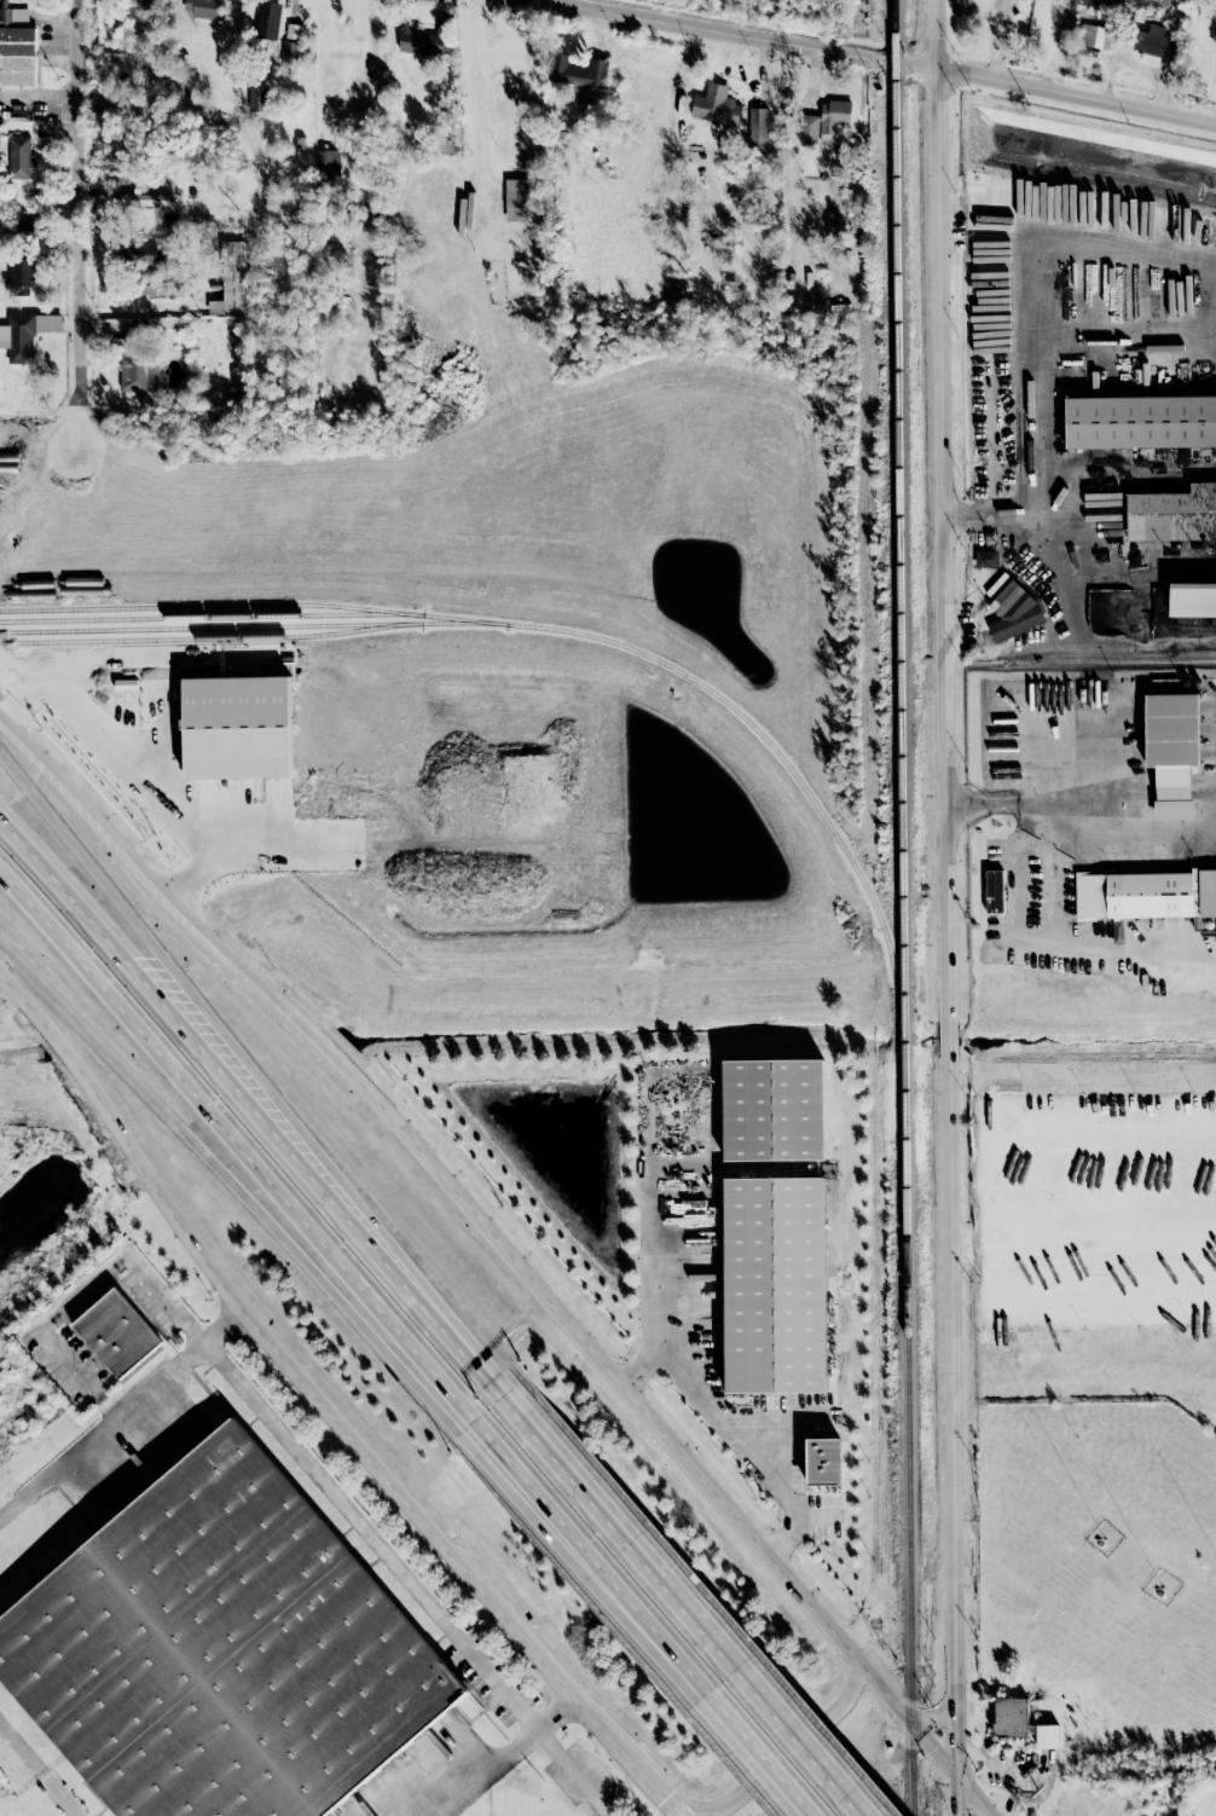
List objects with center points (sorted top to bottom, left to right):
building: (1027, 0)
building: (133, 6)
building: (203, 7)
building: (268, 21)
building: (291, 30)
building: (1094, 36)
building: (425, 40)
road: (994, 40)
building: (1154, 45)
building: (17, 48)
building: (289, 51)
road: (870, 59)
building: (574, 74)
building: (257, 99)
road: (378, 104)
road: (477, 104)
building: (716, 105)
road: (39, 111)
building: (758, 122)
building: (823, 122)
building: (19, 157)
building: (326, 161)
building: (144, 199)
building: (515, 199)
road: (75, 224)
building: (25, 227)
road: (948, 231)
road: (995, 233)
road: (1119, 248)
building: (139, 253)
building: (19, 274)
building: (231, 281)
building: (18, 337)
road: (1141, 343)
road: (1212, 343)
building: (134, 368)
road: (1044, 411)
building: (1140, 422)
road: (1131, 462)
road: (954, 514)
building: (1172, 515)
road: (1021, 531)
road: (1031, 551)
building: (986, 559)
road: (998, 583)
building: (1012, 613)
railway: (212, 617)
road: (969, 617)
railway: (254, 626)
railway: (591, 636)
road: (985, 637)
railway: (214, 638)
road: (957, 640)
road: (1078, 644)
road: (163, 655)
road: (245, 664)
road: (37, 689)
building: (238, 728)
building: (1172, 751)
road: (145, 764)
road: (979, 804)
road: (248, 811)
road: (1114, 831)
road: (248, 837)
building: (995, 892)
building: (1145, 897)
road: (163, 900)
railway: (903, 907)
road: (939, 908)
street lamp: (967, 919)
road: (1089, 953)
road: (249, 1076)
street lamp: (1191, 1091)
street lamp: (1027, 1092)
street lamp: (1082, 1092)
street lamp: (1134, 1092)
road: (249, 1109)
building: (774, 1110)
road: (1048, 1127)
road: (722, 1168)
road: (652, 1182)
road: (1107, 1207)
road: (480, 1220)
road: (300, 1224)
road: (959, 1244)
road: (988, 1244)
road: (299, 1261)
road: (689, 1285)
building: (776, 1285)
road: (83, 1292)
road: (1077, 1307)
street lamp: (1192, 1324)
street lamp: (1085, 1328)
street lamp: (1137, 1329)
parking lot: (717, 1330)
street lamp: (1031, 1330)
building: (116, 1334)
parking lot: (717, 1370)
road: (631, 1373)
parking lot: (812, 1400)
parking lot: (766, 1403)
road: (317, 1404)
road: (118, 1416)
road: (725, 1419)
street lamp: (700, 1457)
parking lot: (798, 1457)
building: (824, 1462)
road: (571, 1476)
street lamp: (755, 1499)
parking lot: (823, 1500)
road: (806, 1515)
parking lot: (824, 1531)
road: (371, 1538)
road: (778, 1545)
road: (803, 1598)
road: (691, 1614)
road: (653, 1637)
building: (221, 1652)
road: (933, 1719)
building: (1020, 1723)
road: (803, 1742)
road: (783, 1753)
road: (754, 1757)
road: (506, 1759)
road: (39, 1768)
road: (573, 1774)
road: (678, 1808)

